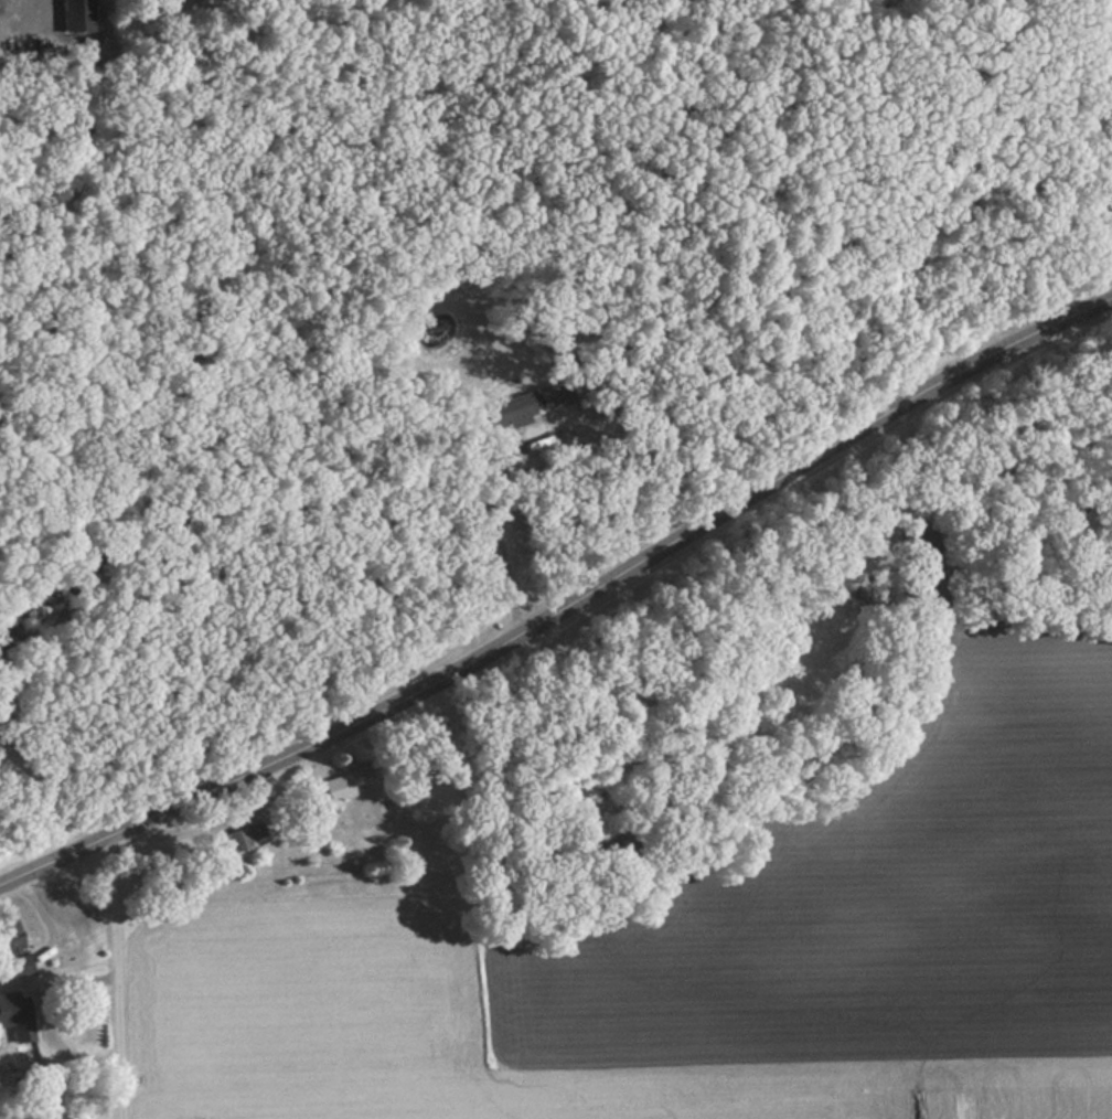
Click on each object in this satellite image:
building: (78, 17)
road: (565, 607)
building: (335, 792)
building: (240, 840)
building: (14, 947)
road: (117, 978)
building: (14, 1010)

